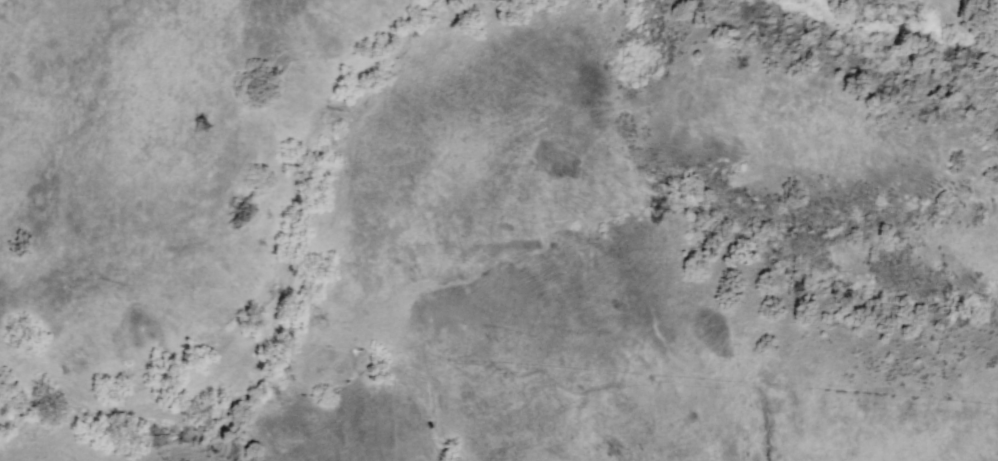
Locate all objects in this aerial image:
power tower: (204, 144)

